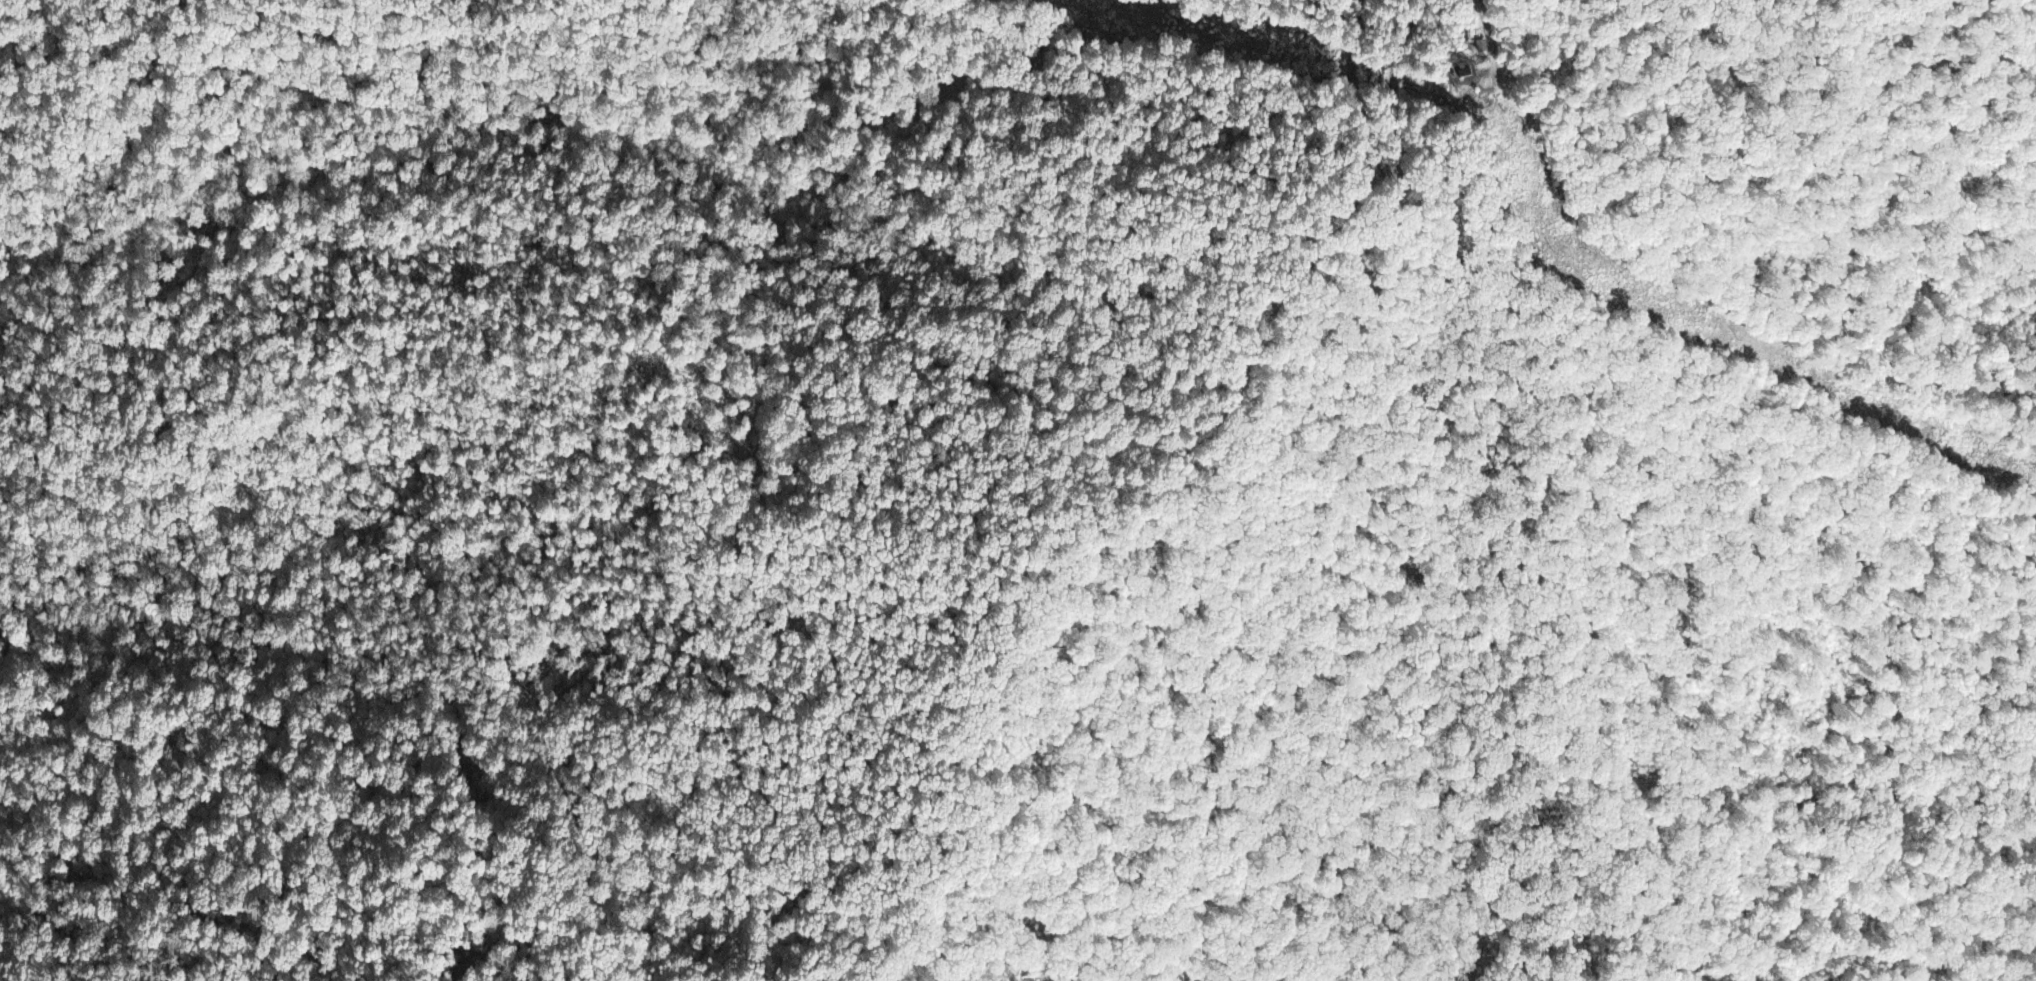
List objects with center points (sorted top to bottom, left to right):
road: (1484, 38)
road: (1388, 170)
road: (950, 209)
road: (1201, 432)
road: (730, 694)

